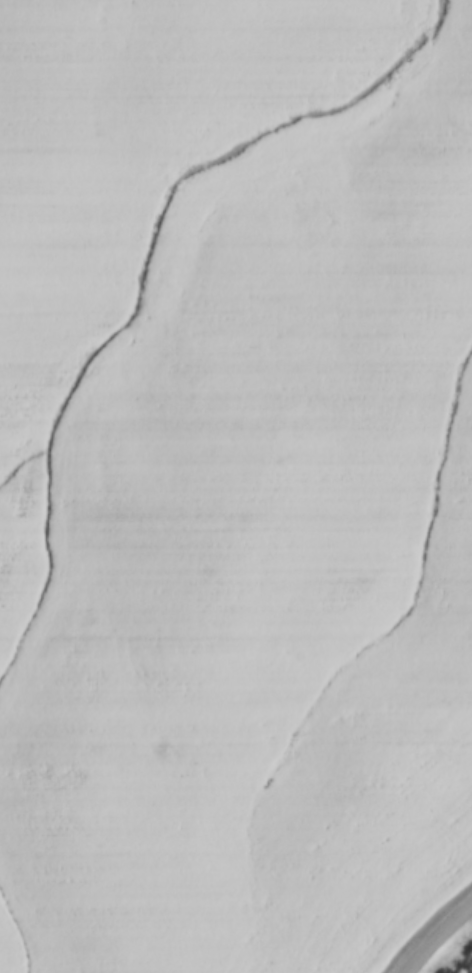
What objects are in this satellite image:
road: (441, 939)

